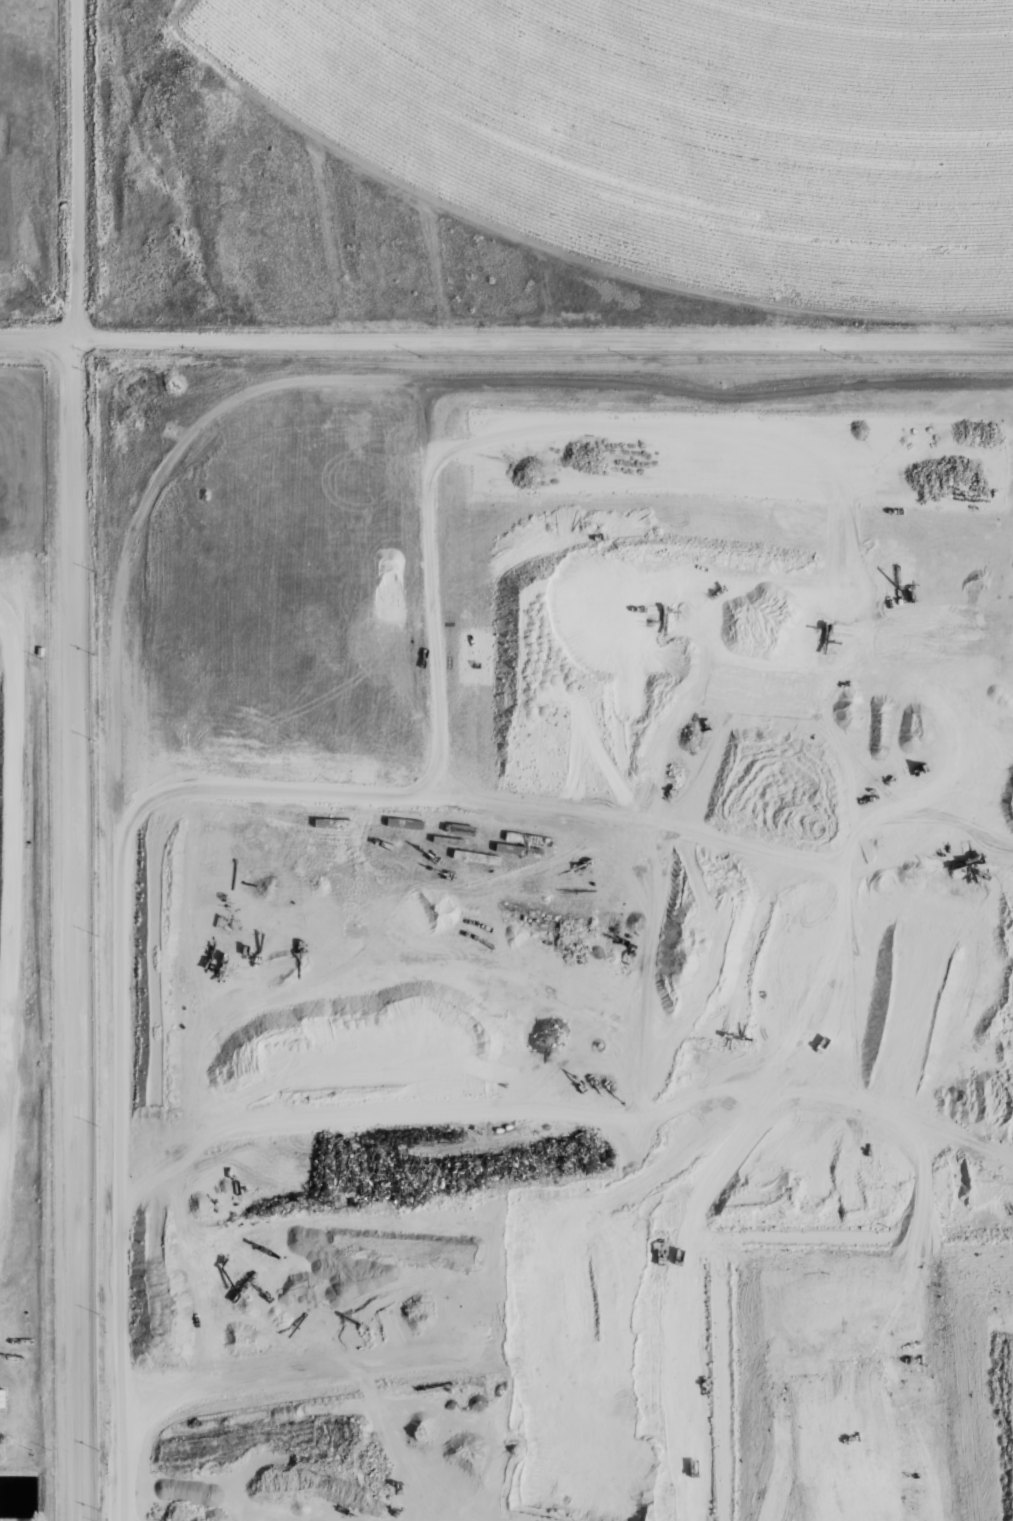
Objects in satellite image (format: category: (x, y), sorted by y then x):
crop: (679, 128)
road: (78, 171)
road: (547, 247)
road: (36, 341)
road: (543, 342)
road: (417, 382)
road: (818, 494)
road: (690, 783)
road: (451, 800)
road: (884, 825)
road: (195, 855)
road: (7, 864)
road: (75, 931)
landfill: (28, 954)
road: (945, 986)
road: (754, 1073)
road: (114, 1109)
road: (374, 1115)
road: (946, 1124)
road: (152, 1173)
road: (413, 1240)
road: (512, 1262)
building: (3, 1398)

